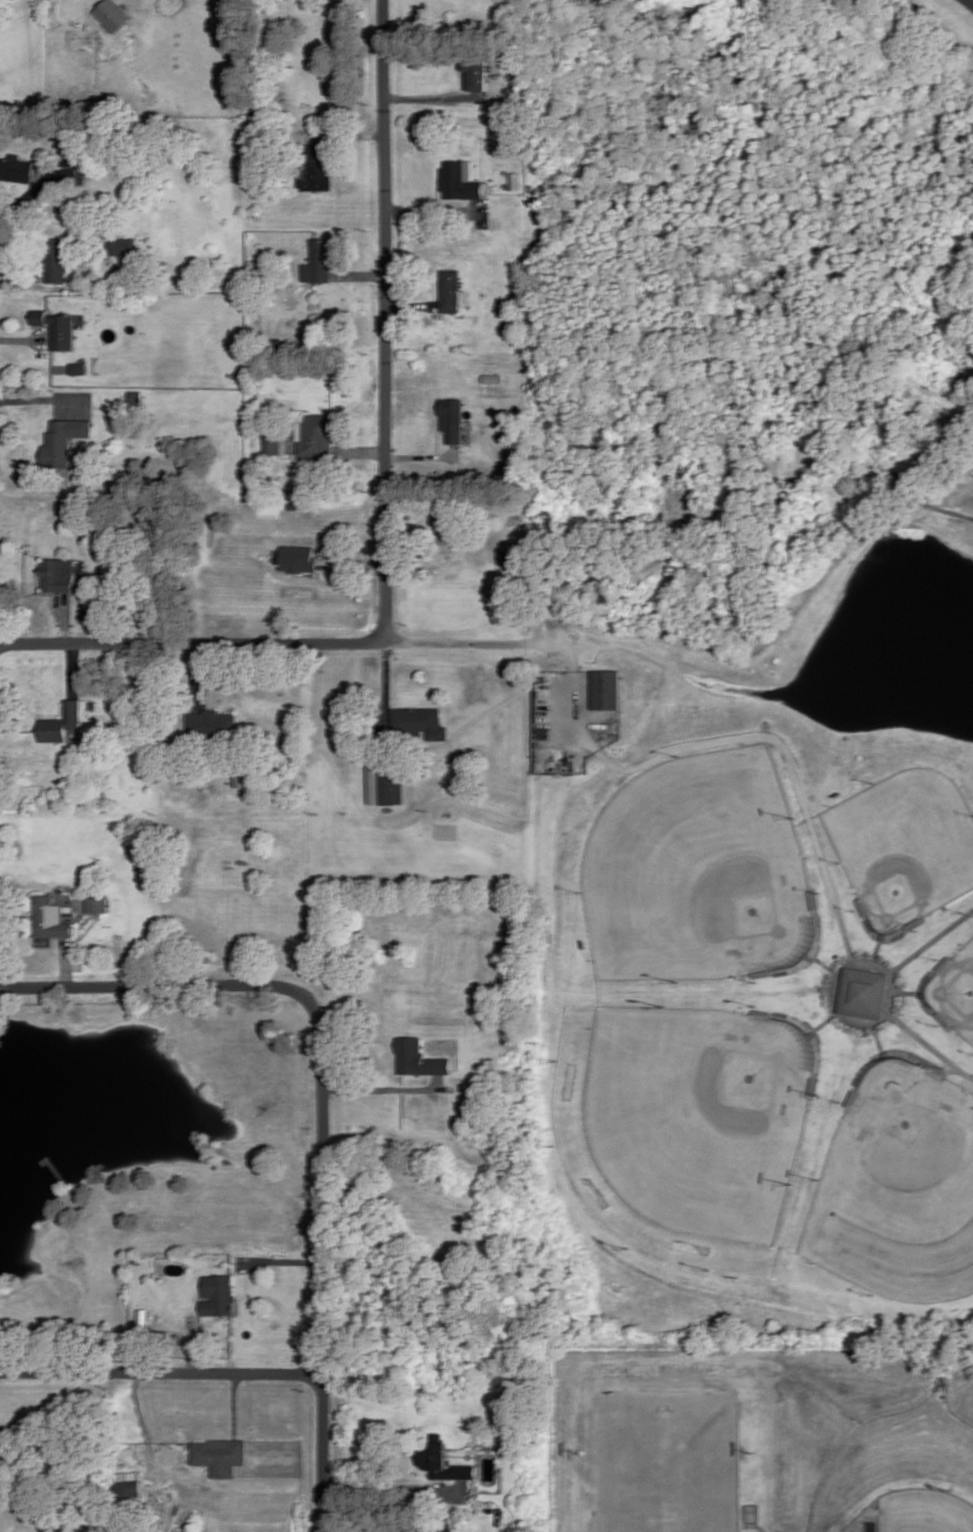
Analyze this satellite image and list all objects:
building: (112, 13)
building: (474, 70)
road: (431, 96)
road: (346, 133)
building: (317, 167)
building: (16, 168)
building: (76, 171)
building: (514, 179)
building: (456, 180)
building: (500, 184)
road: (26, 206)
road: (434, 211)
building: (123, 244)
building: (57, 259)
building: (321, 261)
road: (21, 275)
road: (361, 275)
building: (448, 288)
road: (411, 304)
road: (387, 319)
building: (59, 326)
road: (22, 338)
building: (79, 365)
building: (137, 393)
road: (40, 397)
building: (452, 416)
building: (318, 435)
building: (273, 438)
building: (63, 439)
road: (362, 450)
road: (419, 455)
road: (914, 495)
building: (294, 504)
building: (448, 528)
building: (299, 556)
building: (508, 556)
road: (355, 561)
building: (58, 572)
road: (65, 615)
road: (259, 640)
park: (741, 665)
road: (74, 666)
road: (202, 667)
road: (387, 669)
road: (575, 672)
building: (604, 687)
building: (421, 719)
building: (61, 720)
building: (213, 722)
building: (240, 776)
building: (385, 782)
road: (813, 821)
park: (908, 845)
park: (701, 873)
building: (99, 902)
building: (52, 917)
road: (843, 961)
road: (67, 962)
road: (900, 982)
road: (155, 985)
building: (865, 992)
park: (958, 992)
road: (845, 1000)
road: (881, 1017)
road: (919, 1030)
building: (422, 1056)
road: (384, 1087)
park: (685, 1127)
road: (45, 1154)
park: (901, 1189)
road: (326, 1262)
building: (221, 1292)
building: (144, 1316)
road: (195, 1343)
road: (162, 1370)
road: (236, 1403)
building: (222, 1453)
building: (446, 1459)
building: (129, 1478)
road: (394, 1486)
park: (928, 1511)

